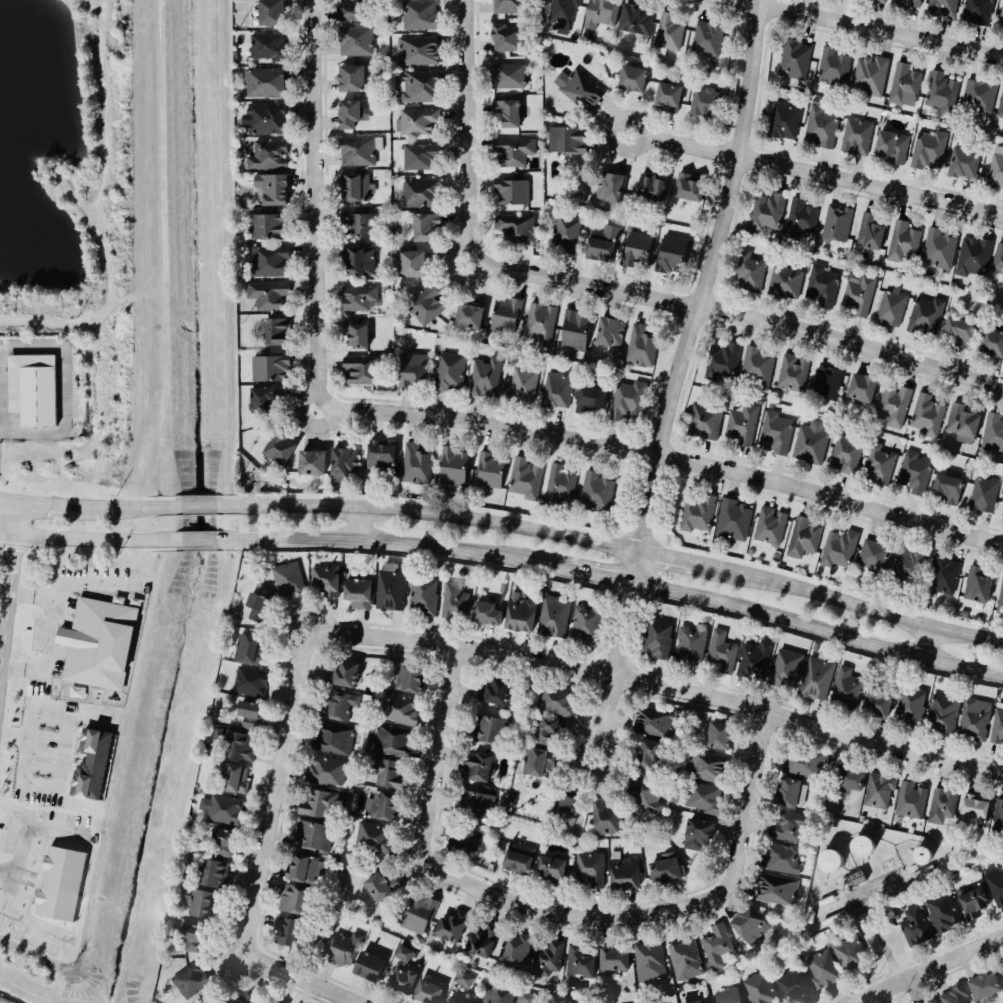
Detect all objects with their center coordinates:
road: (759, 1)
building: (876, 1)
building: (910, 3)
building: (508, 7)
building: (944, 7)
building: (352, 11)
building: (978, 11)
building: (271, 13)
building: (601, 14)
building: (421, 15)
building: (564, 15)
building: (1002, 17)
building: (636, 21)
road: (873, 28)
building: (670, 33)
building: (506, 39)
building: (708, 40)
building: (358, 42)
building: (268, 47)
building: (418, 51)
building: (796, 60)
building: (835, 68)
building: (509, 76)
building: (871, 77)
building: (352, 79)
building: (631, 80)
building: (265, 84)
building: (905, 86)
building: (420, 87)
building: (579, 90)
building: (941, 93)
building: (978, 96)
building: (667, 97)
building: (704, 104)
building: (1000, 107)
building: (351, 115)
building: (507, 115)
building: (266, 120)
building: (418, 122)
building: (783, 122)
building: (821, 128)
road: (465, 133)
building: (856, 138)
building: (566, 142)
building: (891, 148)
building: (928, 151)
building: (357, 153)
building: (510, 153)
building: (268, 156)
building: (419, 158)
road: (313, 164)
building: (963, 164)
road: (814, 172)
building: (995, 172)
building: (358, 189)
building: (609, 189)
building: (688, 189)
building: (271, 190)
building: (652, 191)
building: (512, 193)
building: (419, 195)
building: (361, 211)
building: (767, 212)
building: (799, 220)
building: (836, 225)
building: (358, 226)
building: (266, 228)
building: (423, 228)
building: (873, 234)
building: (903, 243)
park: (76, 247)
building: (617, 247)
building: (938, 251)
building: (669, 255)
building: (973, 258)
building: (267, 261)
building: (360, 262)
building: (998, 263)
building: (409, 264)
building: (751, 275)
building: (785, 283)
building: (821, 287)
building: (265, 295)
building: (857, 295)
building: (359, 299)
building: (891, 308)
building: (506, 315)
building: (467, 316)
road: (739, 316)
building: (926, 316)
building: (541, 323)
building: (958, 329)
building: (574, 331)
building: (275, 332)
building: (609, 332)
building: (354, 335)
building: (993, 342)
building: (641, 346)
building: (723, 362)
building: (757, 365)
building: (271, 369)
building: (411, 370)
road: (315, 371)
building: (360, 371)
building: (450, 372)
building: (793, 373)
road: (677, 381)
building: (828, 383)
building: (33, 388)
building: (556, 391)
building: (881, 399)
building: (260, 400)
building: (627, 400)
building: (589, 401)
building: (927, 416)
building: (704, 422)
building: (962, 424)
building: (741, 426)
building: (776, 433)
building: (993, 434)
building: (811, 444)
road: (662, 455)
building: (845, 456)
building: (294, 457)
building: (380, 458)
building: (342, 462)
building: (880, 462)
building: (416, 465)
building: (452, 468)
building: (914, 473)
building: (509, 476)
building: (560, 483)
building: (948, 489)
building: (596, 491)
building: (983, 496)
road: (9, 500)
road: (49, 504)
road: (129, 508)
road: (199, 508)
road: (431, 514)
building: (698, 515)
road: (17, 519)
building: (734, 520)
road: (360, 524)
building: (769, 527)
road: (7, 534)
building: (803, 539)
road: (96, 541)
road: (200, 541)
road: (397, 541)
building: (838, 549)
road: (671, 556)
building: (873, 556)
building: (908, 566)
road: (602, 572)
building: (944, 577)
building: (325, 581)
building: (288, 584)
building: (978, 585)
building: (390, 587)
building: (357, 594)
building: (423, 596)
road: (7, 601)
building: (1000, 602)
building: (454, 603)
road: (852, 604)
building: (255, 607)
building: (519, 613)
building: (486, 614)
building: (553, 619)
building: (585, 626)
road: (817, 627)
road: (52, 634)
building: (655, 640)
building: (100, 643)
road: (932, 643)
building: (689, 646)
building: (249, 650)
building: (720, 654)
building: (753, 662)
building: (785, 669)
building: (341, 675)
building: (406, 679)
road: (624, 679)
building: (815, 680)
building: (250, 684)
building: (845, 691)
building: (493, 694)
building: (556, 701)
building: (875, 706)
building: (333, 708)
building: (908, 708)
building: (397, 711)
building: (247, 715)
building: (940, 715)
building: (974, 719)
building: (654, 723)
building: (997, 725)
building: (486, 732)
building: (543, 733)
road: (14, 737)
building: (716, 737)
building: (329, 743)
building: (391, 743)
building: (237, 749)
building: (647, 757)
road: (62, 763)
building: (535, 764)
building: (802, 765)
building: (704, 768)
building: (475, 769)
building: (324, 773)
building: (385, 775)
road: (436, 779)
building: (847, 779)
building: (231, 780)
building: (878, 793)
building: (643, 795)
building: (788, 795)
building: (700, 800)
building: (910, 801)
road: (278, 803)
building: (315, 807)
building: (473, 807)
building: (381, 808)
building: (940, 809)
building: (223, 811)
building: (973, 811)
building: (562, 812)
building: (998, 817)
building: (604, 819)
road: (755, 821)
building: (788, 829)
building: (574, 835)
building: (696, 837)
road: (23, 838)
building: (310, 838)
building: (372, 839)
building: (221, 844)
building: (459, 844)
building: (859, 850)
building: (780, 860)
building: (516, 861)
building: (828, 863)
building: (300, 871)
building: (588, 872)
building: (549, 873)
building: (663, 874)
building: (211, 876)
building: (622, 876)
building: (853, 881)
building: (62, 884)
building: (996, 885)
building: (380, 888)
building: (775, 892)
building: (293, 902)
building: (971, 905)
building: (201, 906)
building: (941, 914)
building: (416, 916)
road: (15, 917)
road: (586, 919)
building: (449, 927)
building: (748, 927)
building: (913, 929)
building: (286, 933)
building: (190, 939)
building: (480, 943)
building: (715, 948)
building: (339, 951)
building: (512, 954)
building: (402, 956)
building: (850, 957)
building: (546, 961)
building: (580, 962)
building: (684, 962)
building: (611, 963)
building: (647, 964)
road: (267, 967)
building: (367, 967)
building: (820, 971)
road: (935, 972)
building: (1001, 973)
building: (463, 980)
building: (189, 982)
building: (400, 983)
building: (791, 987)
building: (982, 988)
building: (757, 990)
building: (425, 993)
building: (499, 995)
building: (726, 997)
building: (953, 997)
building: (236, 998)
building: (524, 998)
building: (461, 999)
building: (267, 1001)
building: (555, 1001)
building: (929, 1001)
building: (275, 1002)
building: (919, 1002)

